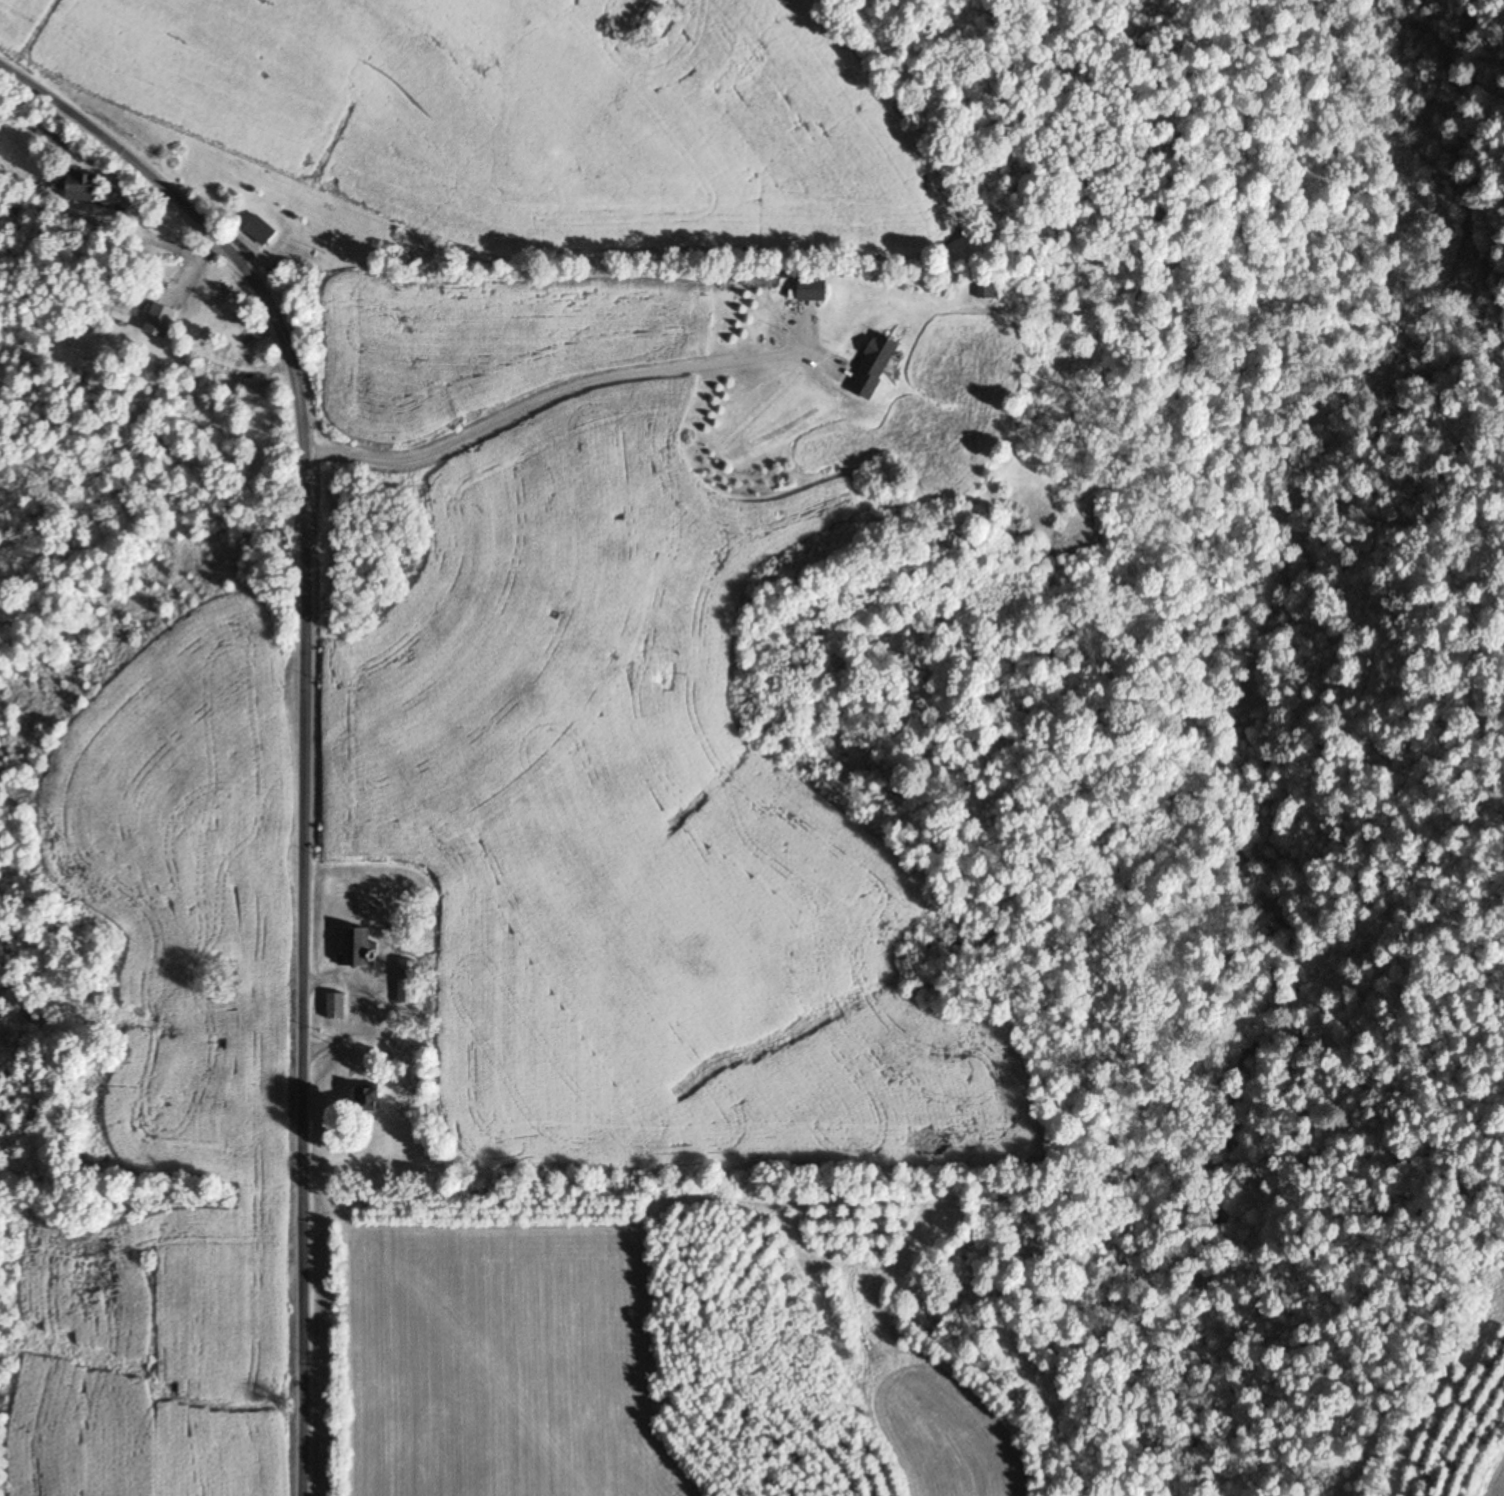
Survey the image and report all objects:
building: (48, 134)
building: (79, 186)
building: (259, 230)
building: (812, 290)
building: (987, 291)
building: (161, 320)
building: (877, 366)
road: (303, 715)
building: (355, 948)
building: (406, 982)
building: (336, 1006)
building: (369, 1100)

